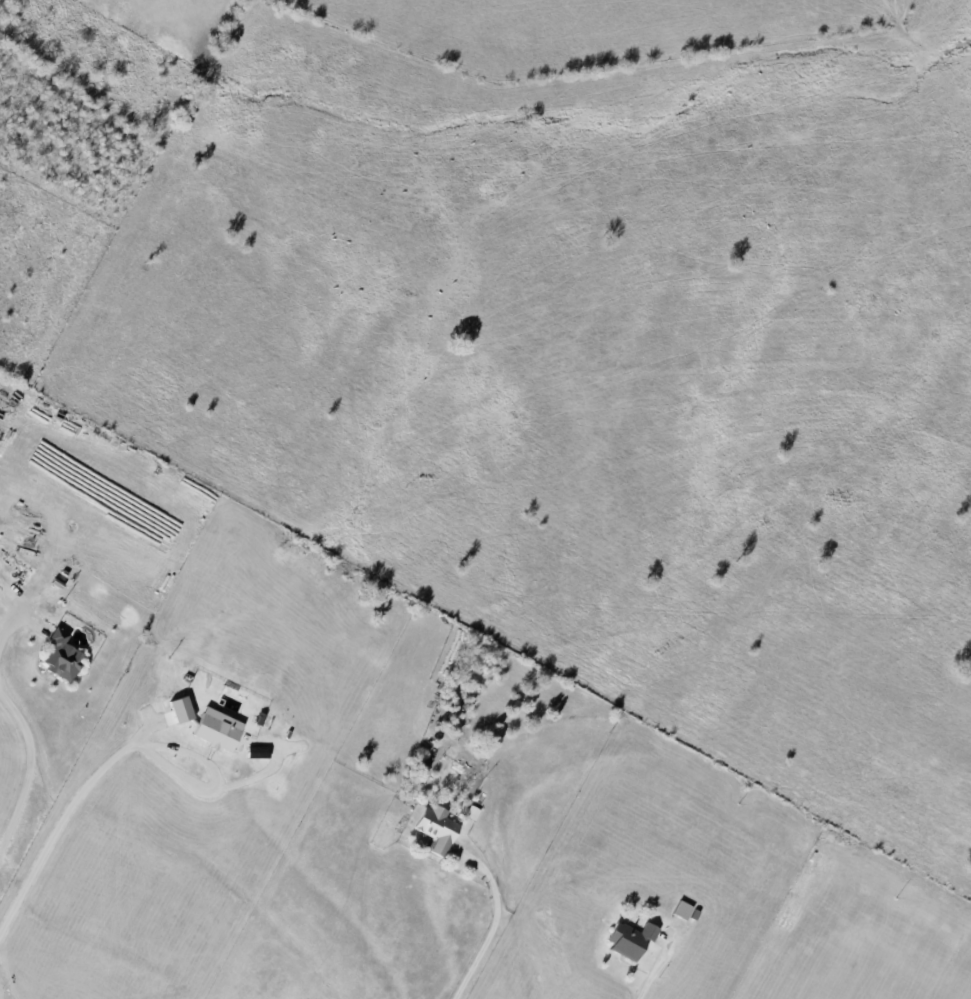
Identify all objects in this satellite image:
road: (7, 639)
building: (66, 654)
building: (185, 708)
building: (222, 728)
road: (29, 780)
road: (68, 822)
building: (440, 827)
road: (496, 926)
building: (635, 937)
road: (779, 942)
road: (653, 975)

